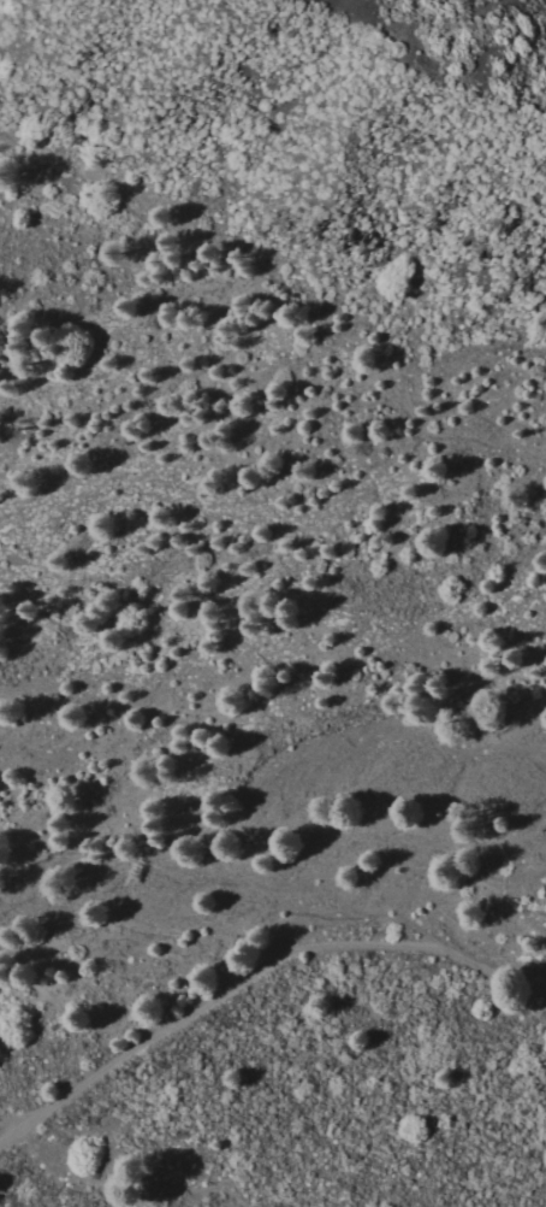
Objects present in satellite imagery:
road: (256, 971)

